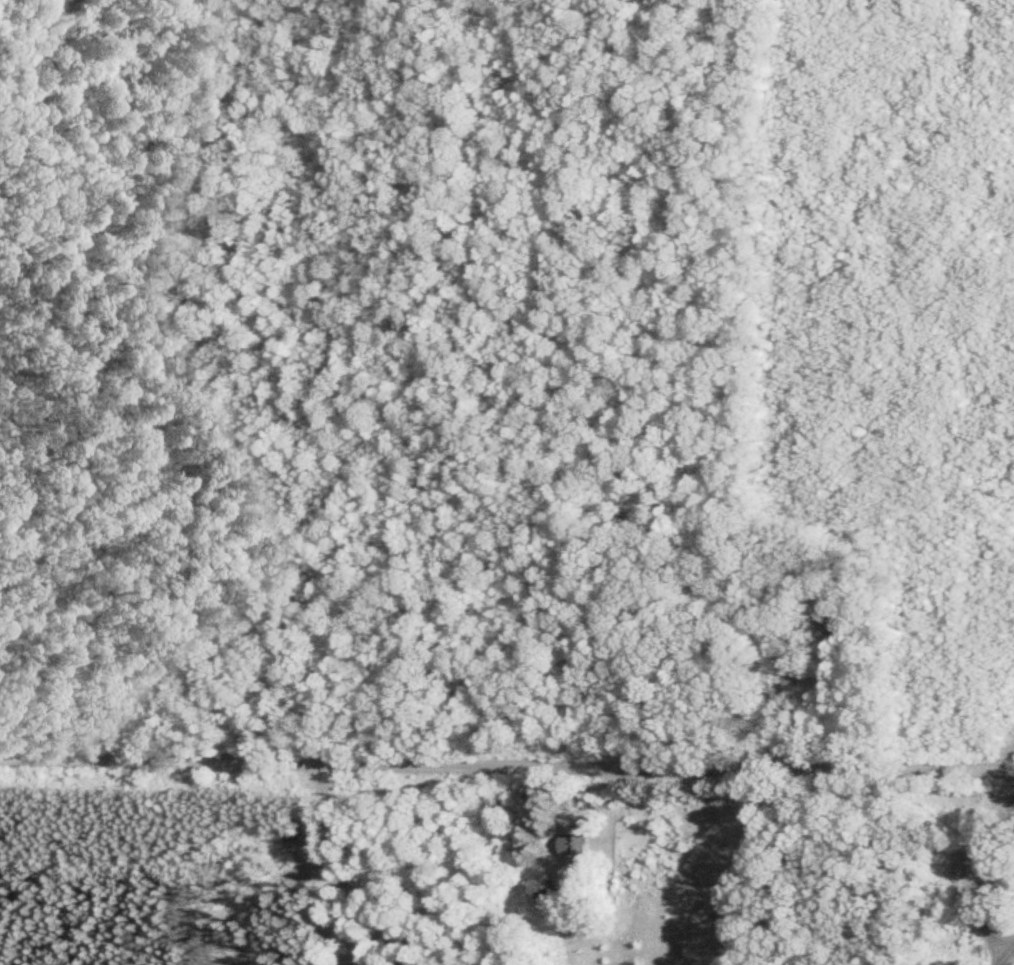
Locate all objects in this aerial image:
road: (507, 760)
building: (567, 848)
building: (541, 893)

